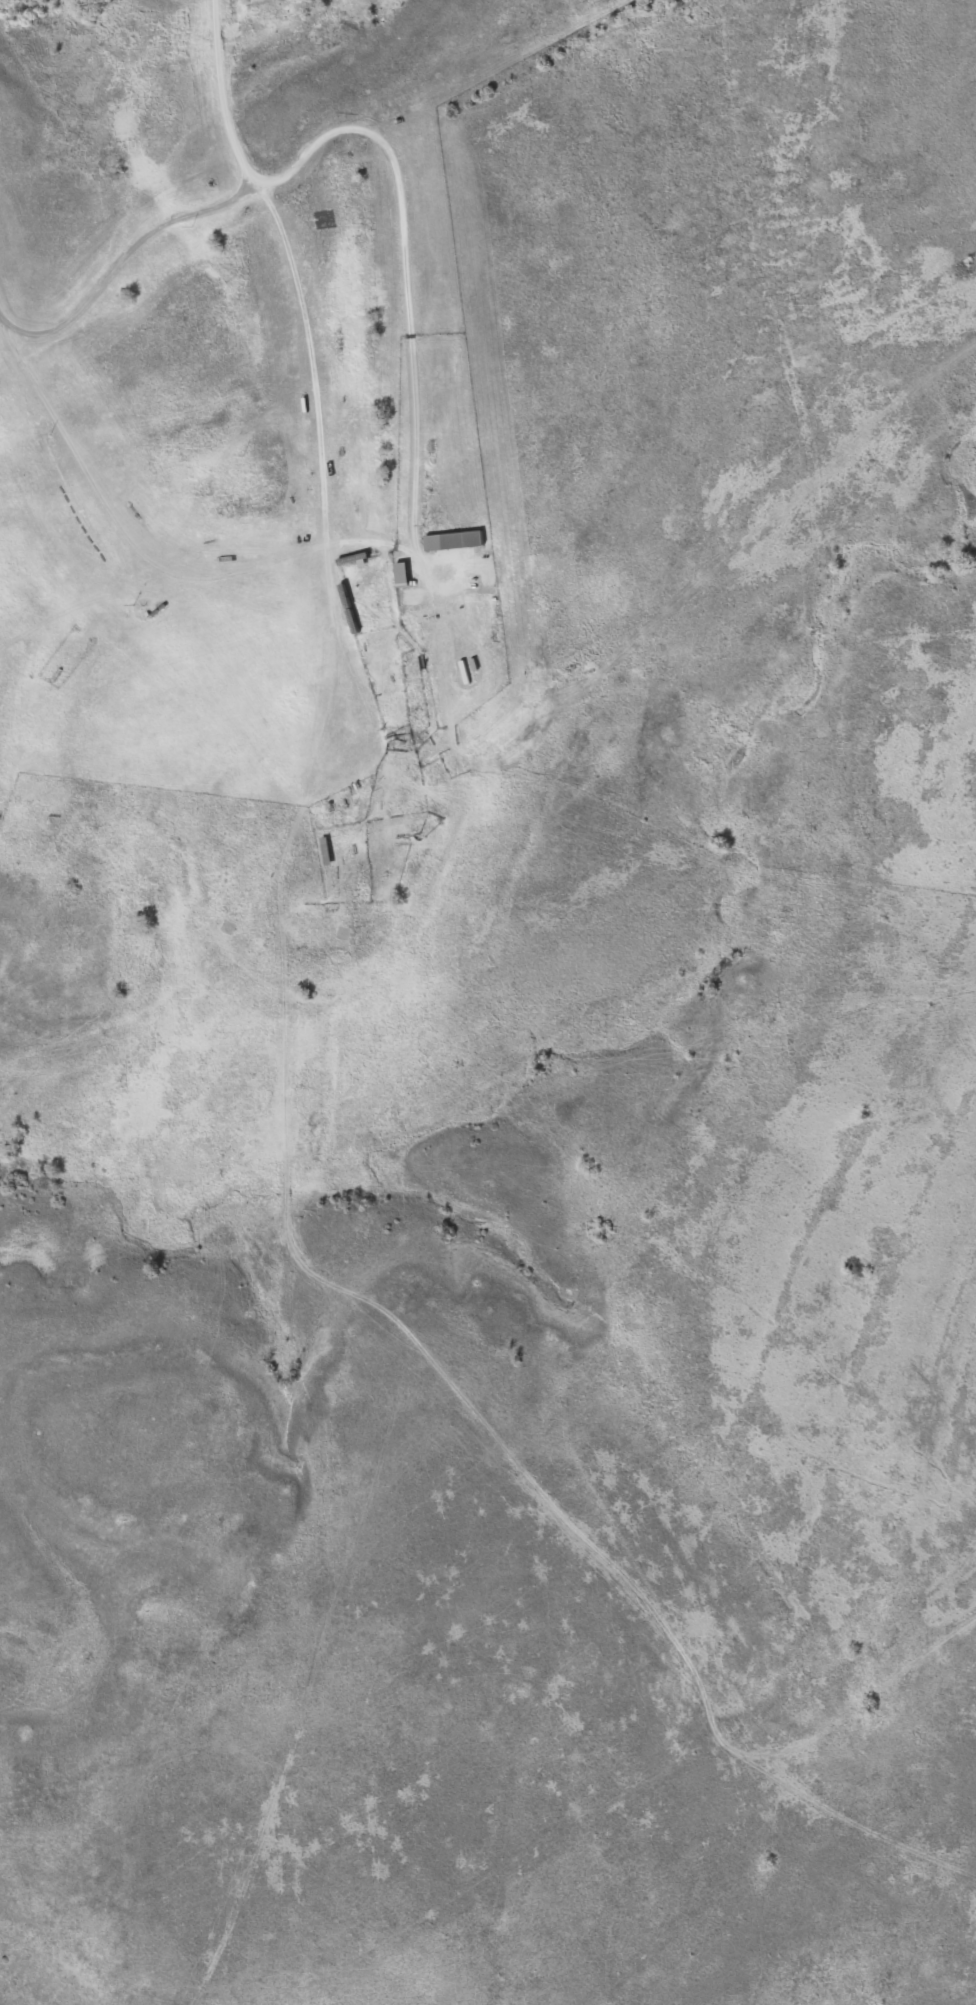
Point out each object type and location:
road: (300, 315)
road: (368, 541)
building: (449, 541)
building: (397, 576)
road: (330, 727)
building: (321, 853)
road: (393, 941)
road: (866, 1706)

